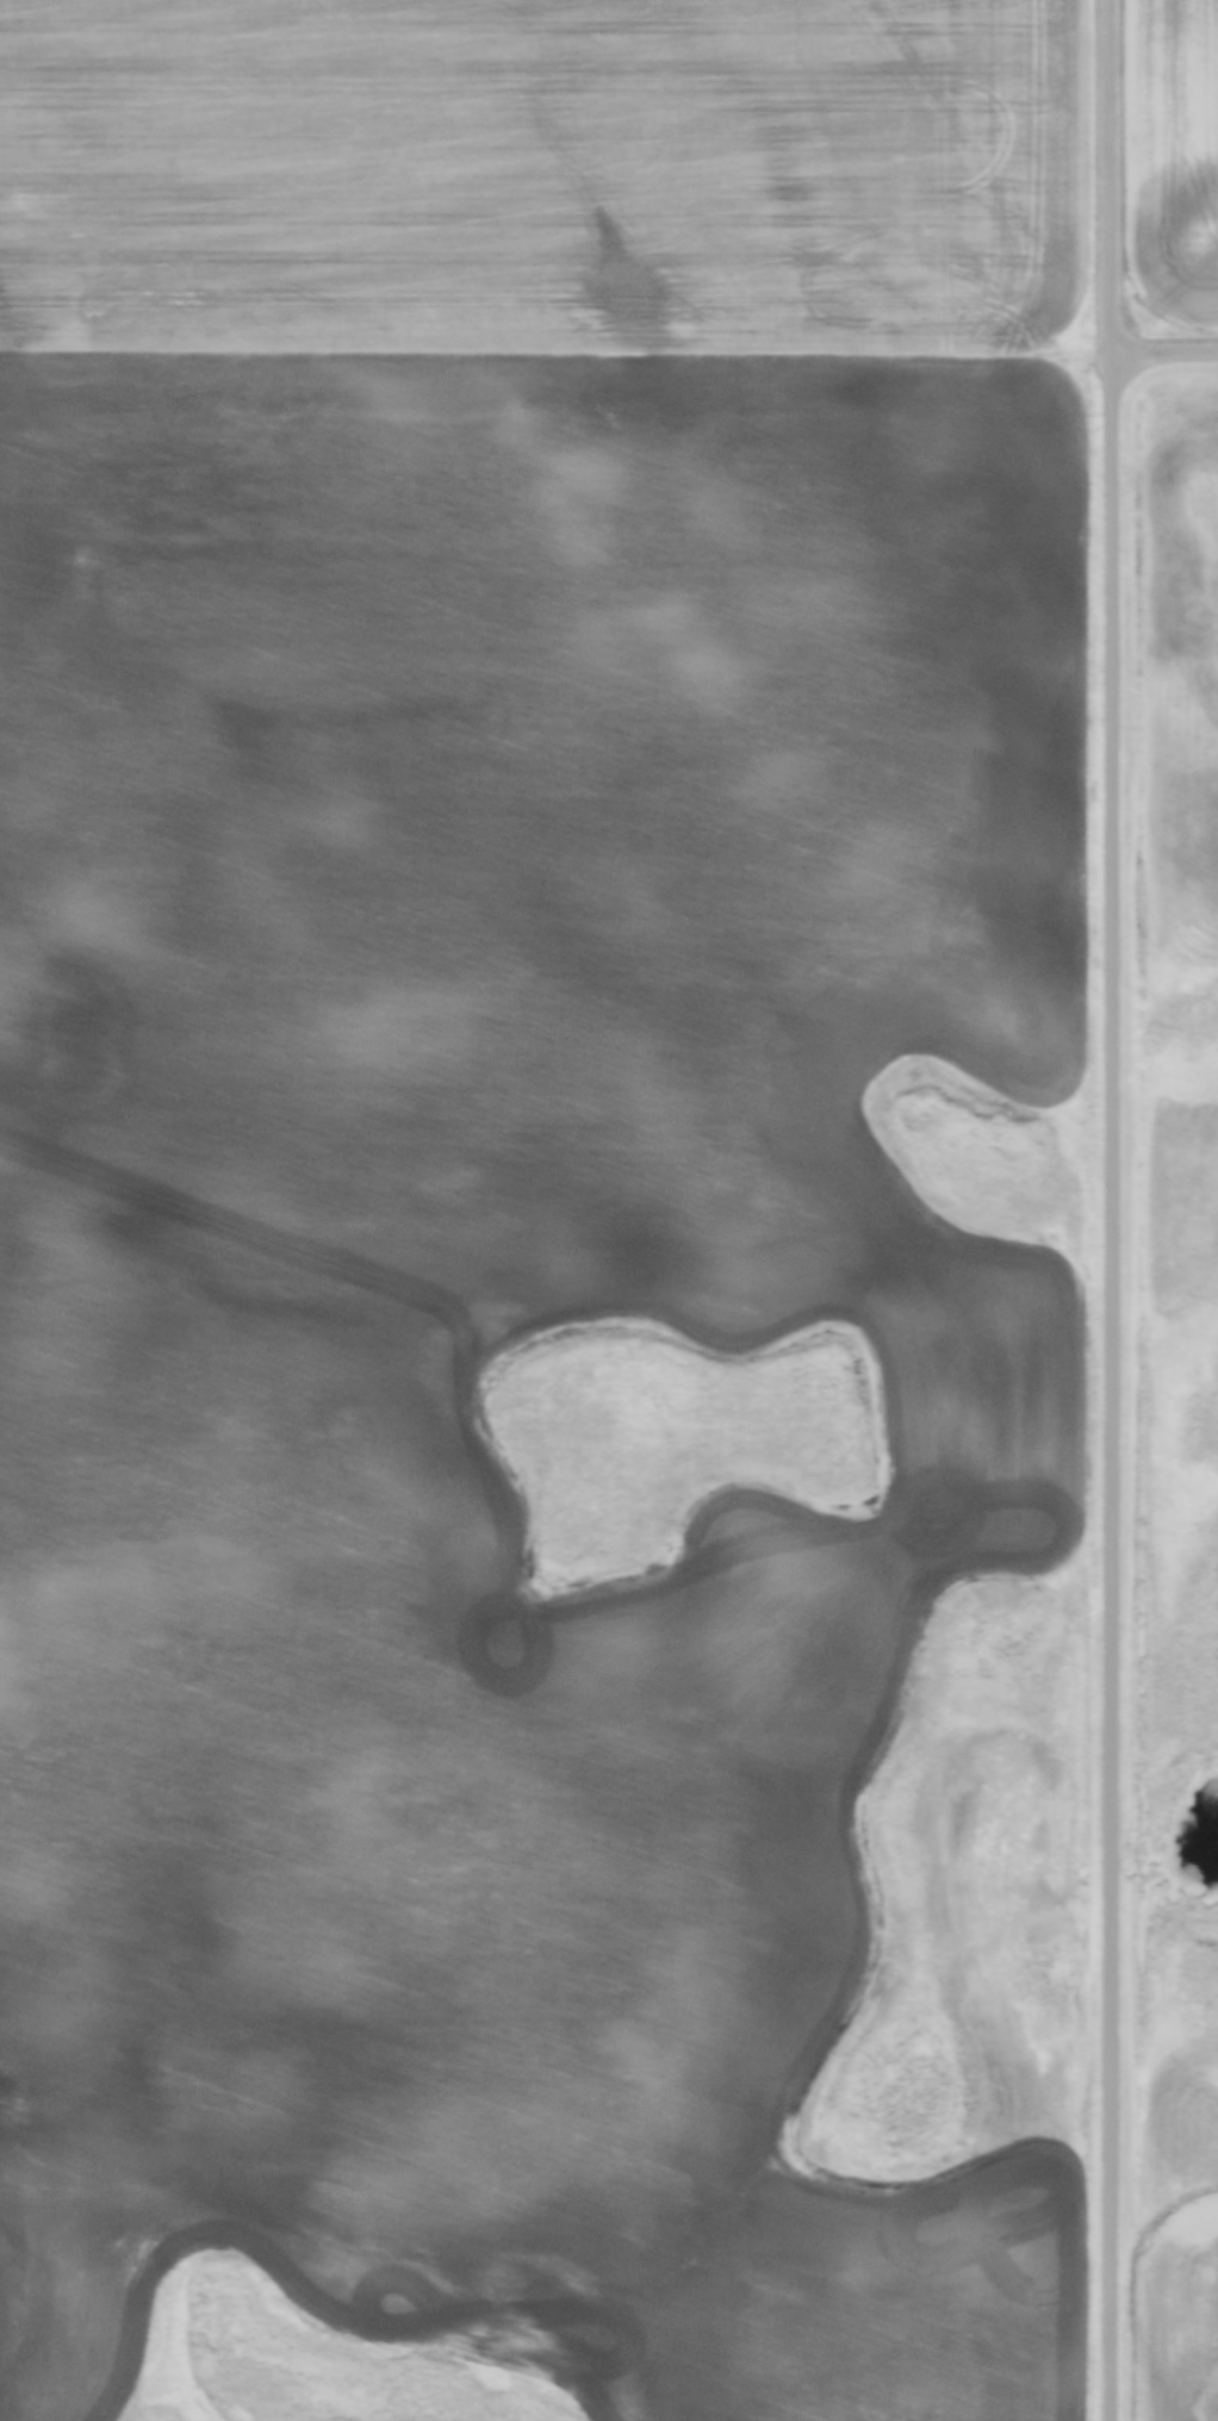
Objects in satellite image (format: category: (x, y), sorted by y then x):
road: (1162, 357)
road: (1110, 1209)

